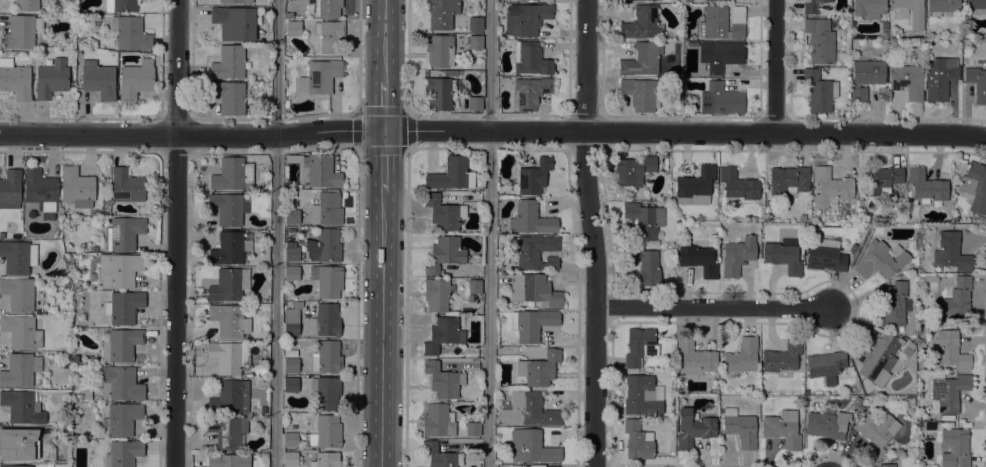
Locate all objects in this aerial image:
building: (715, 0)
building: (233, 1)
building: (26, 5)
building: (121, 5)
building: (812, 6)
building: (327, 7)
building: (941, 7)
building: (975, 7)
building: (869, 8)
building: (441, 13)
building: (910, 13)
building: (529, 19)
building: (234, 22)
building: (722, 22)
building: (475, 23)
building: (642, 23)
building: (293, 28)
building: (21, 31)
building: (130, 33)
building: (328, 34)
building: (820, 40)
road: (383, 41)
building: (475, 41)
building: (439, 50)
building: (724, 55)
road: (359, 56)
road: (406, 56)
building: (530, 58)
building: (641, 59)
building: (228, 62)
road: (774, 66)
building: (450, 73)
building: (319, 77)
building: (866, 77)
building: (940, 77)
building: (51, 79)
building: (98, 79)
building: (15, 80)
building: (135, 80)
building: (907, 80)
building: (977, 83)
building: (72, 85)
building: (819, 91)
building: (529, 92)
building: (439, 93)
building: (641, 93)
building: (228, 96)
building: (721, 99)
building: (475, 103)
road: (383, 106)
road: (357, 112)
road: (493, 130)
road: (383, 161)
building: (316, 170)
building: (633, 170)
building: (233, 174)
building: (451, 175)
building: (531, 176)
building: (789, 180)
building: (881, 180)
building: (738, 184)
building: (926, 185)
building: (126, 186)
building: (695, 186)
building: (714, 186)
building: (975, 186)
building: (76, 187)
building: (830, 187)
building: (10, 189)
building: (40, 191)
building: (227, 208)
building: (327, 209)
building: (443, 213)
building: (292, 216)
building: (801, 217)
building: (530, 218)
building: (644, 219)
building: (123, 233)
road: (175, 233)
road: (275, 233)
road: (488, 233)
road: (592, 233)
building: (2, 234)
building: (324, 246)
building: (232, 248)
building: (534, 251)
building: (291, 252)
building: (951, 252)
building: (444, 253)
building: (782, 254)
building: (737, 255)
building: (18, 256)
building: (825, 258)
building: (698, 259)
building: (880, 260)
building: (645, 264)
building: (120, 269)
building: (291, 272)
building: (327, 280)
building: (229, 284)
building: (473, 286)
building: (534, 289)
building: (18, 293)
building: (437, 294)
building: (957, 296)
building: (470, 298)
building: (892, 304)
road: (712, 306)
building: (123, 307)
road: (356, 307)
road: (406, 307)
building: (328, 319)
building: (228, 320)
building: (533, 323)
building: (291, 327)
road: (382, 330)
building: (21, 332)
building: (443, 334)
building: (120, 344)
building: (639, 346)
building: (949, 350)
building: (290, 353)
building: (877, 355)
building: (742, 356)
building: (782, 356)
building: (229, 357)
building: (327, 357)
building: (694, 357)
building: (291, 365)
building: (825, 366)
building: (538, 368)
building: (20, 369)
building: (443, 380)
building: (120, 383)
building: (291, 384)
building: (326, 392)
building: (947, 392)
building: (641, 396)
building: (230, 397)
building: (909, 399)
building: (857, 402)
building: (20, 406)
building: (263, 409)
building: (528, 410)
building: (122, 418)
building: (438, 420)
building: (825, 424)
building: (692, 428)
building: (740, 428)
building: (782, 428)
building: (473, 429)
building: (228, 431)
building: (326, 432)
building: (874, 433)
building: (290, 439)
building: (638, 440)
building: (20, 442)
building: (531, 447)
building: (954, 448)
building: (122, 453)
building: (440, 455)
building: (290, 458)
building: (325, 459)
building: (893, 459)
building: (227, 460)
building: (49, 465)
building: (886, 465)
building: (16, 466)
building: (551, 466)

